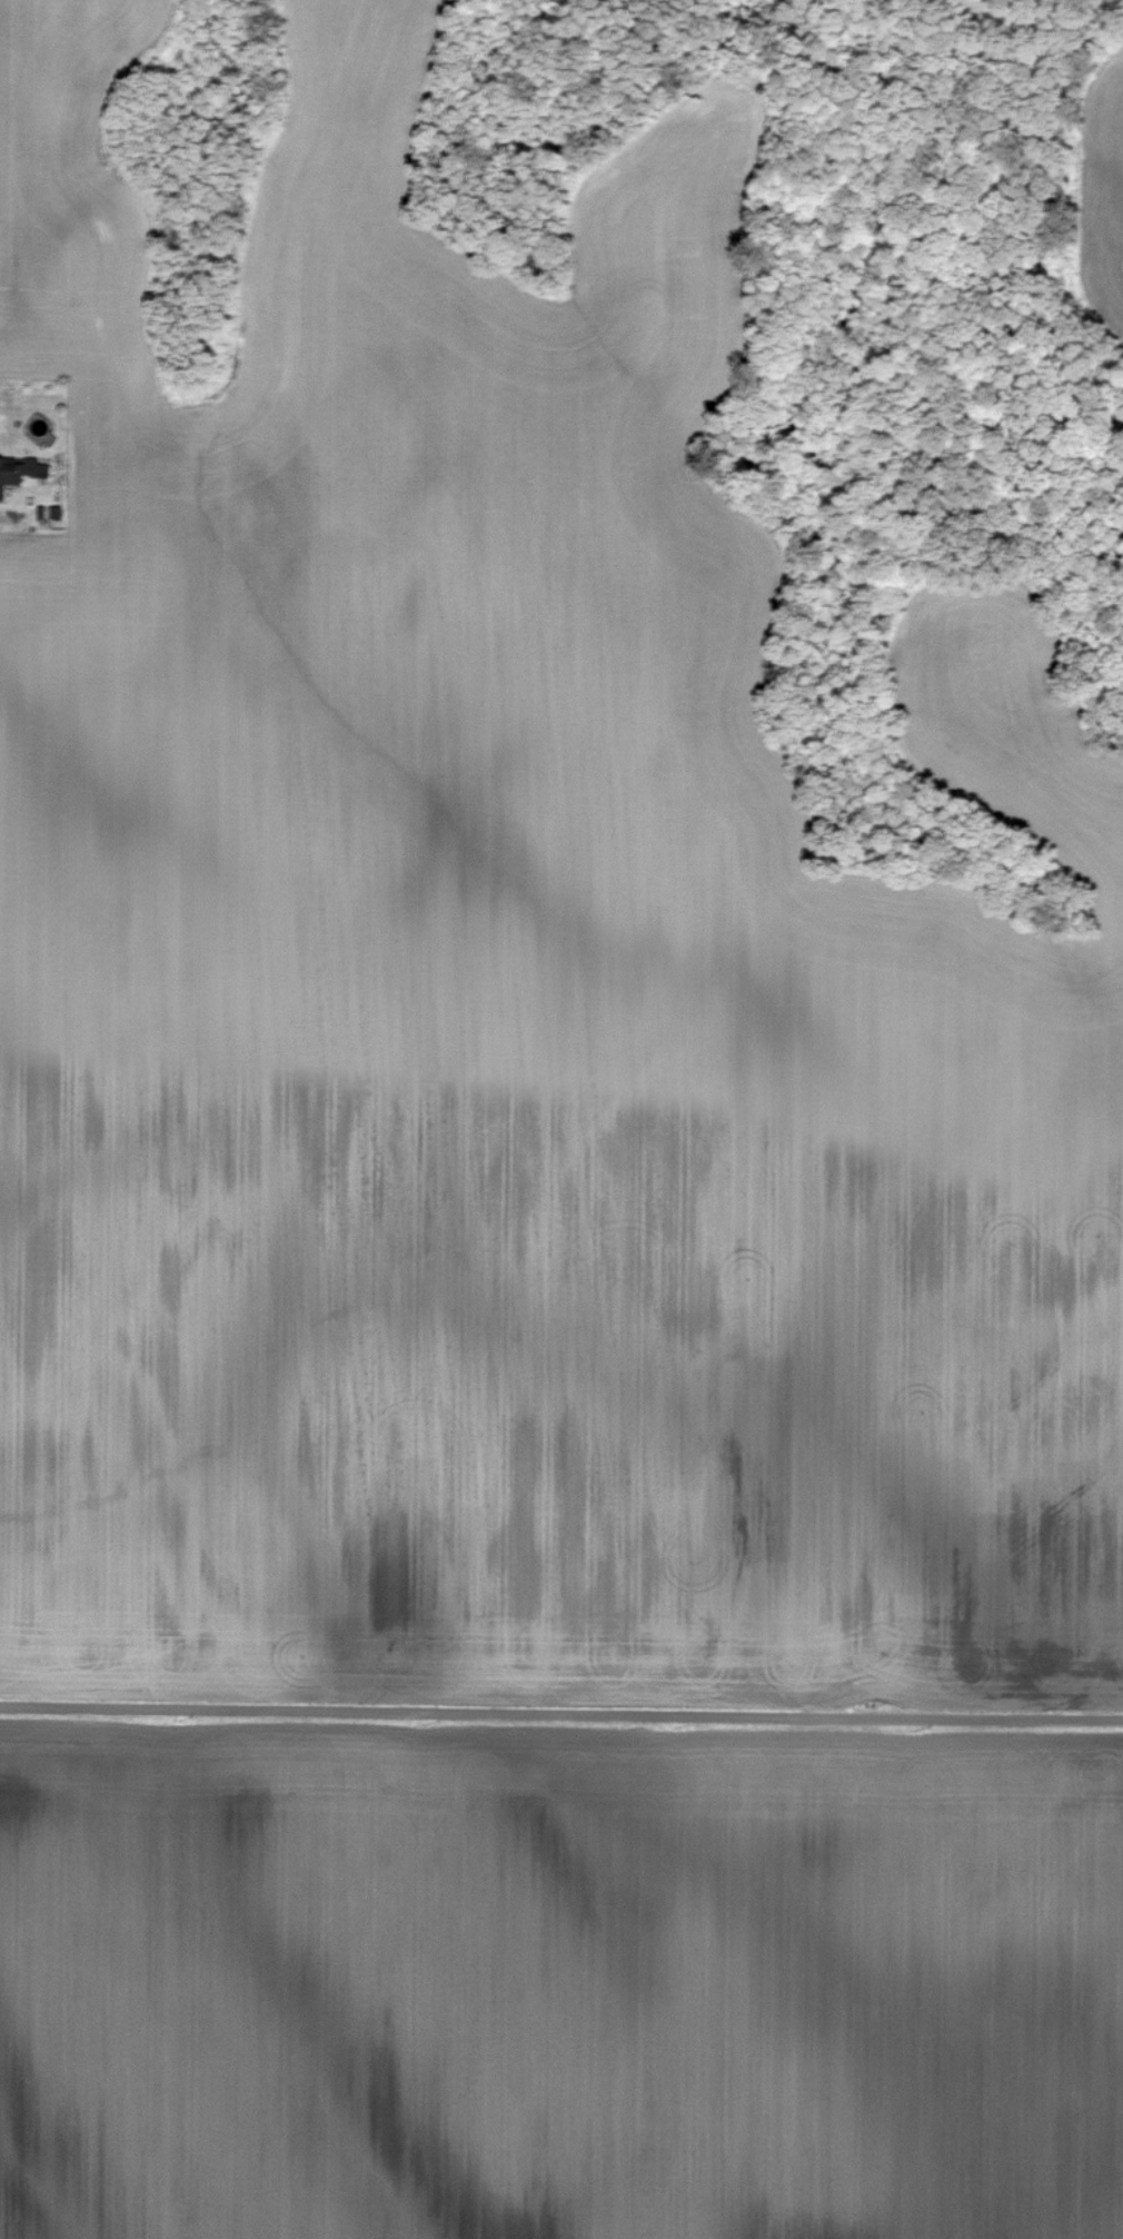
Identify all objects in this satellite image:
road: (17, 504)
road: (560, 1712)

